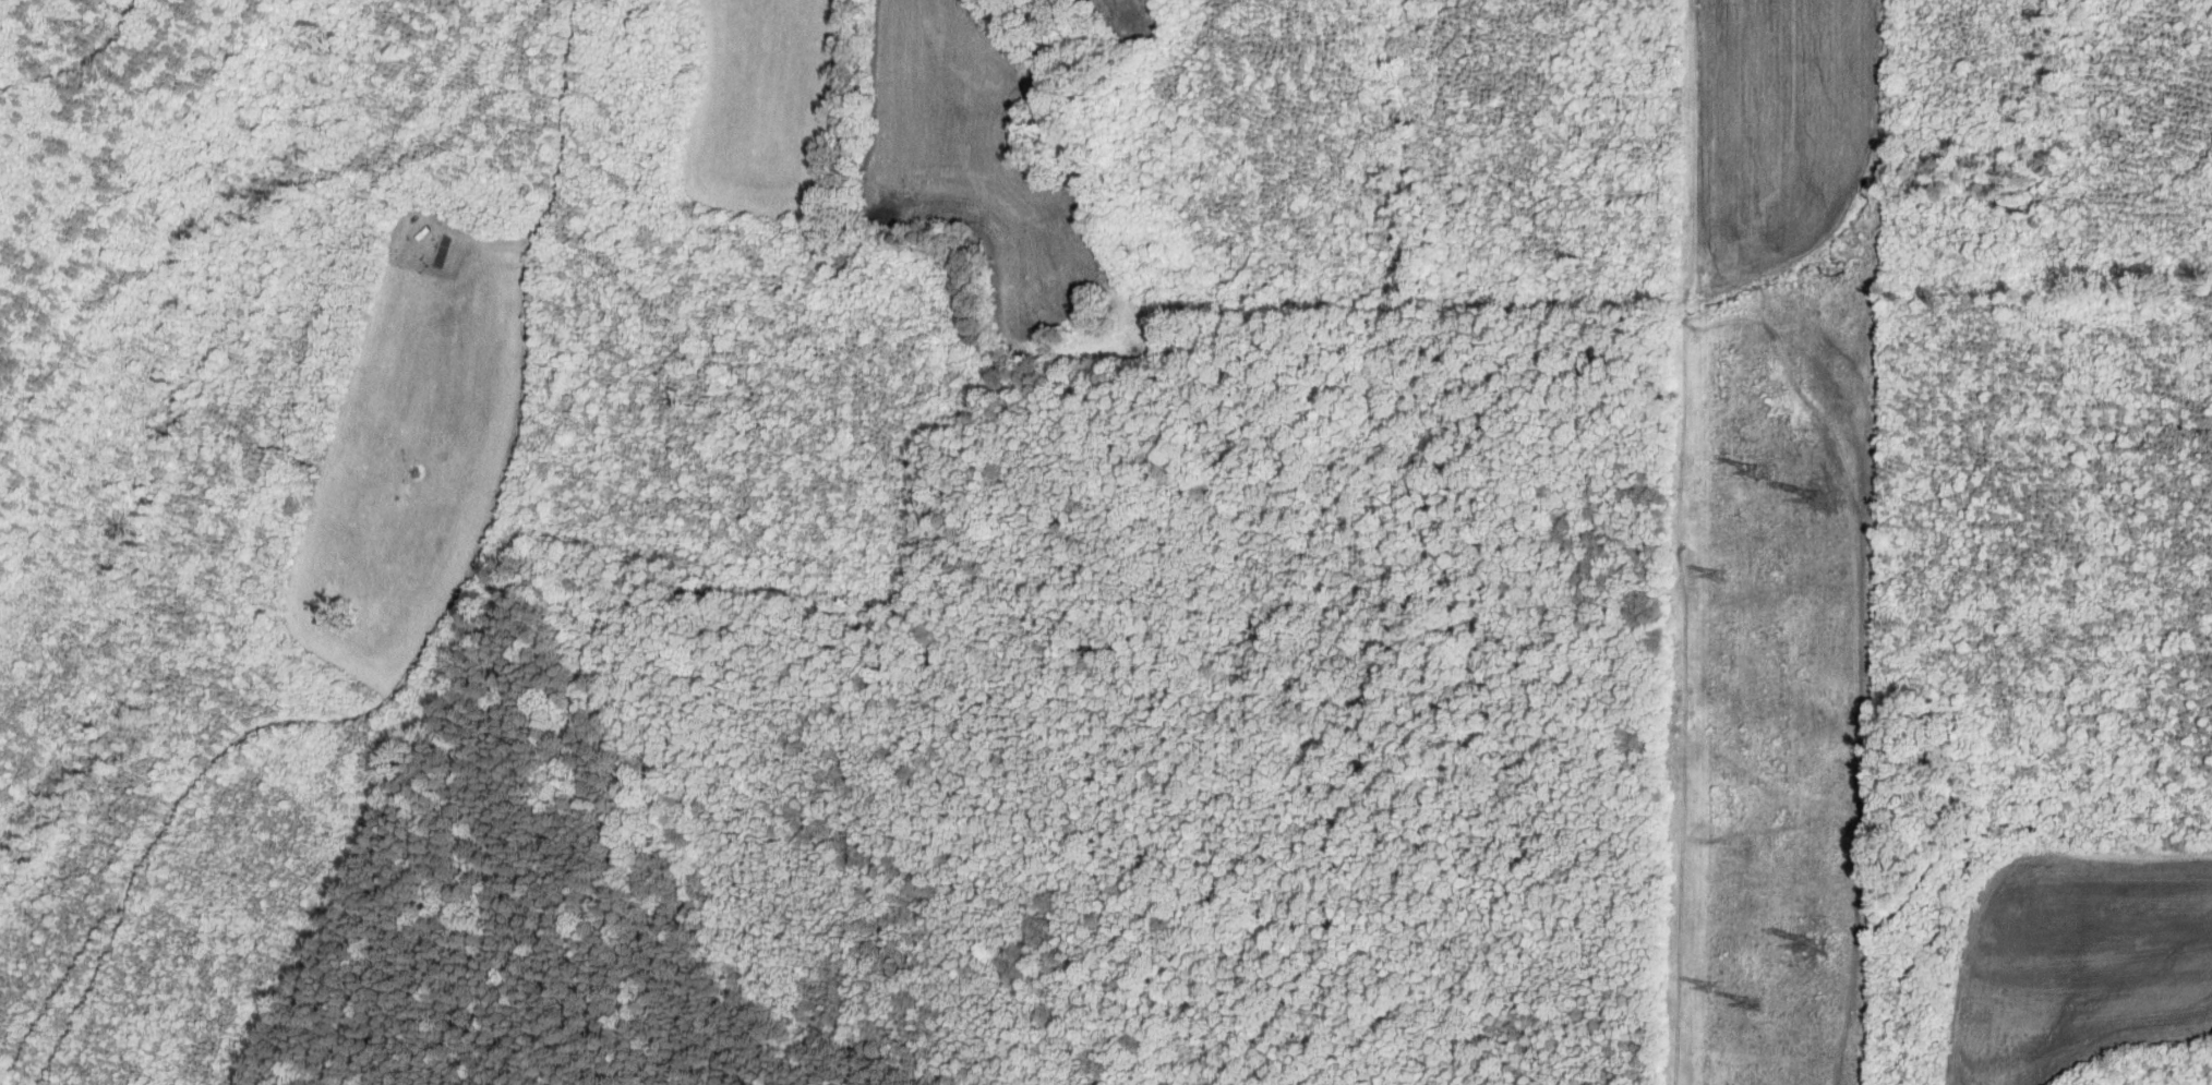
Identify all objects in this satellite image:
power tower: (1762, 473)
power tower: (1825, 499)
power tower: (1720, 576)
power tower: (1817, 944)
power tower: (1712, 986)
power tower: (1754, 1006)

